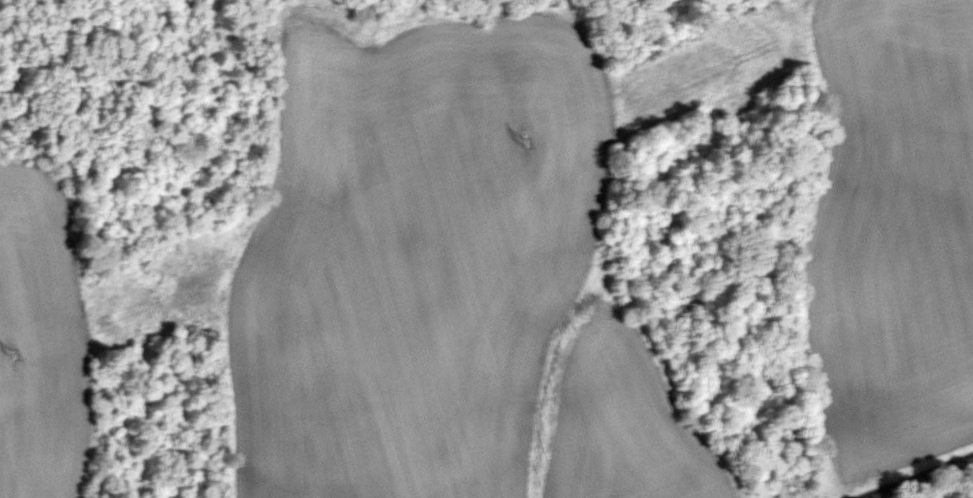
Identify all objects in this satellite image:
road: (906, 473)

